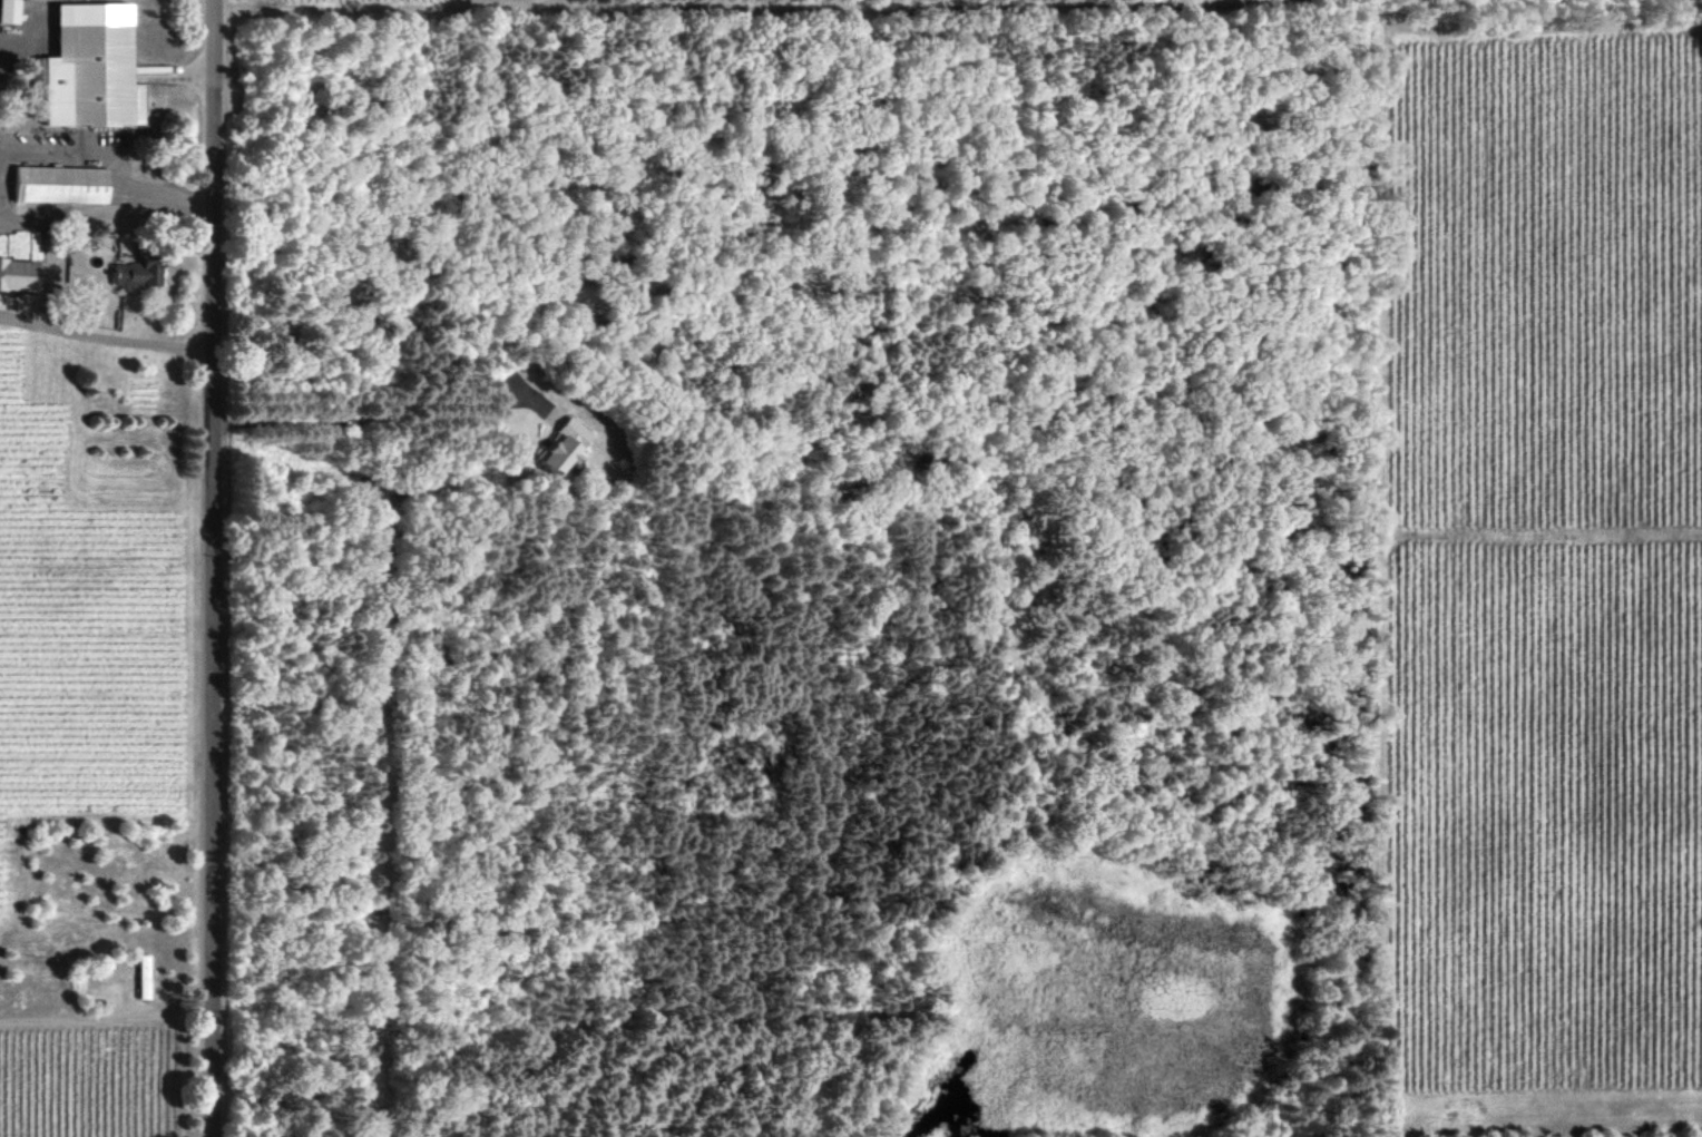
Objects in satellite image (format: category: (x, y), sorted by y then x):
road: (21, 36)
building: (92, 67)
road: (8, 151)
road: (99, 163)
building: (61, 184)
building: (137, 272)
building: (18, 274)
road: (107, 336)
building: (561, 445)
road: (213, 568)
building: (144, 976)

